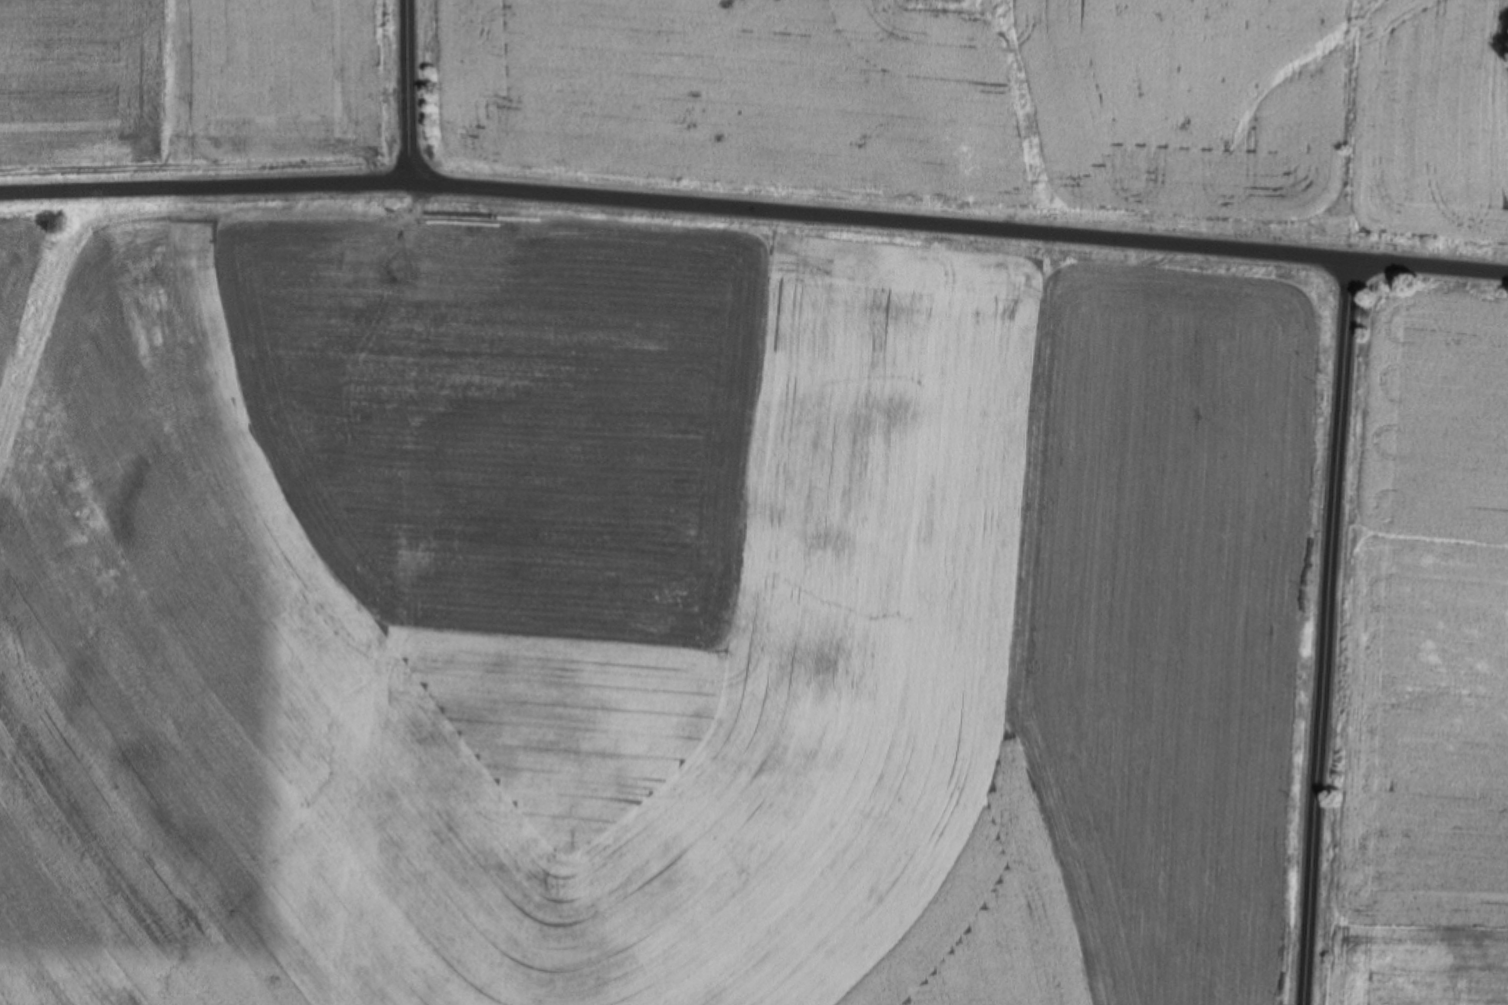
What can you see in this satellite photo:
road: (412, 99)
road: (754, 218)
road: (1327, 628)

